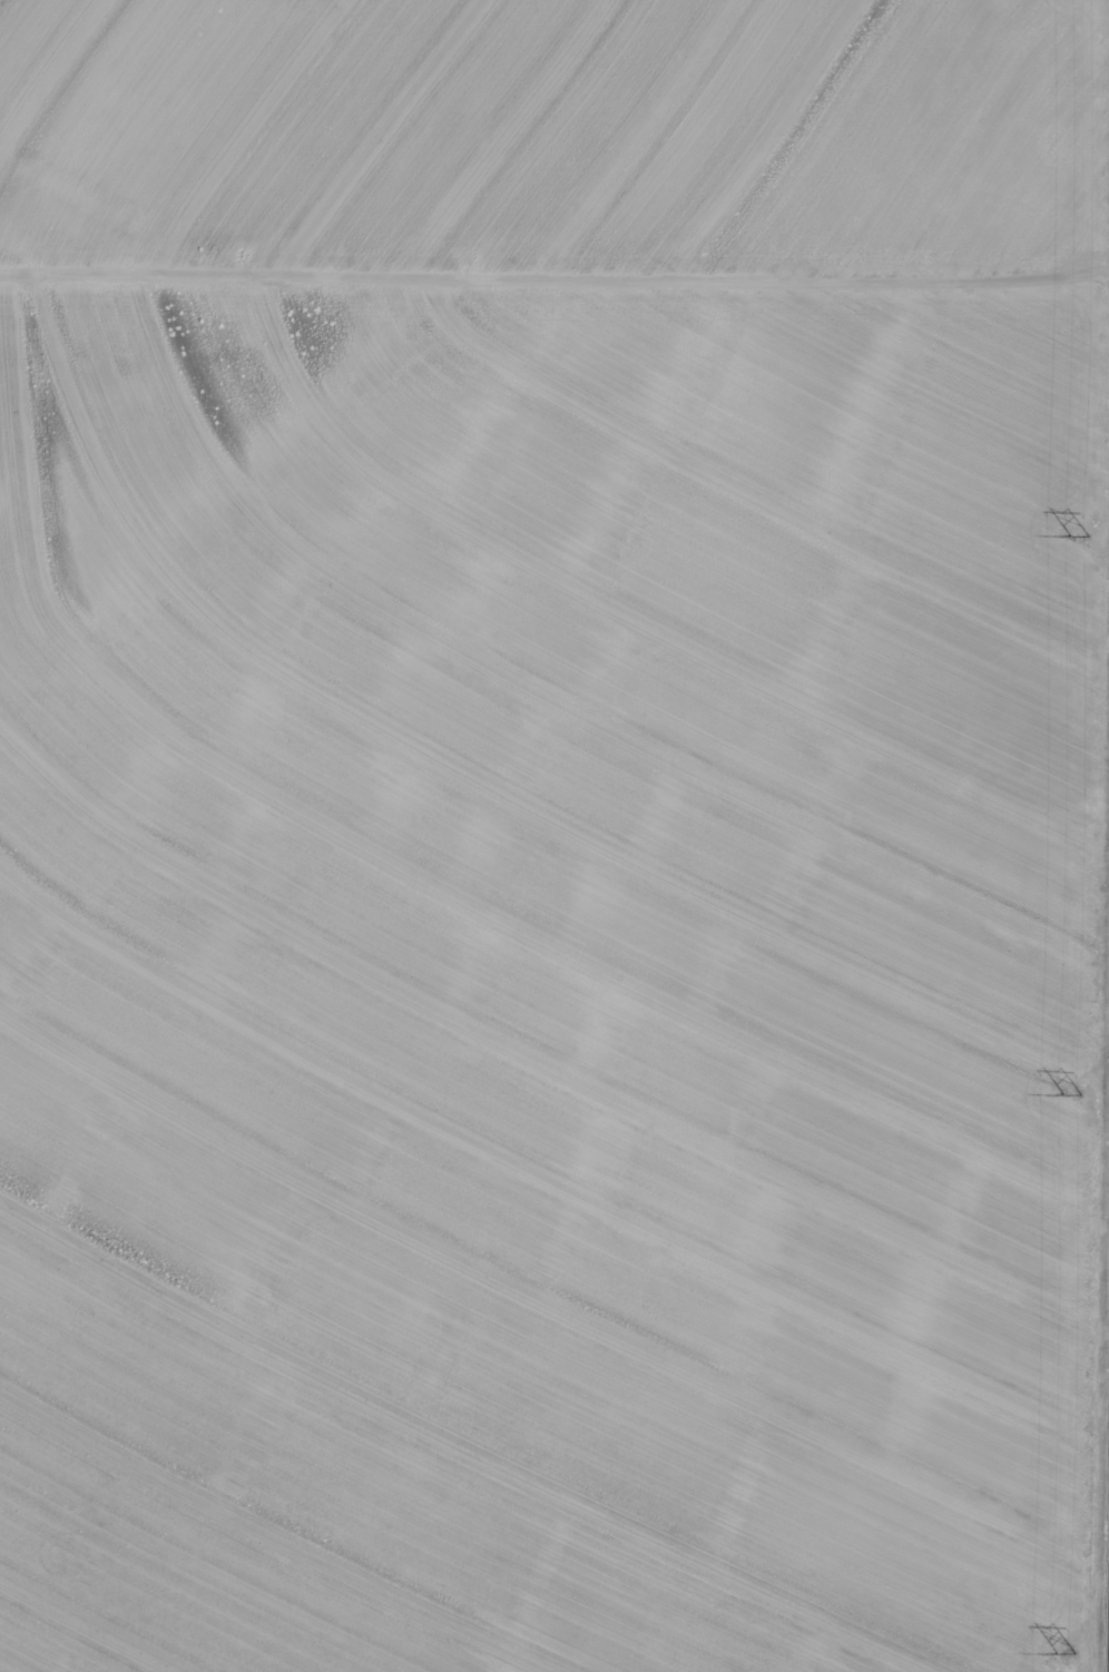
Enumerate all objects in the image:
road: (554, 297)
power tower: (1082, 534)
power tower: (1076, 1092)
power tower: (1068, 1651)

